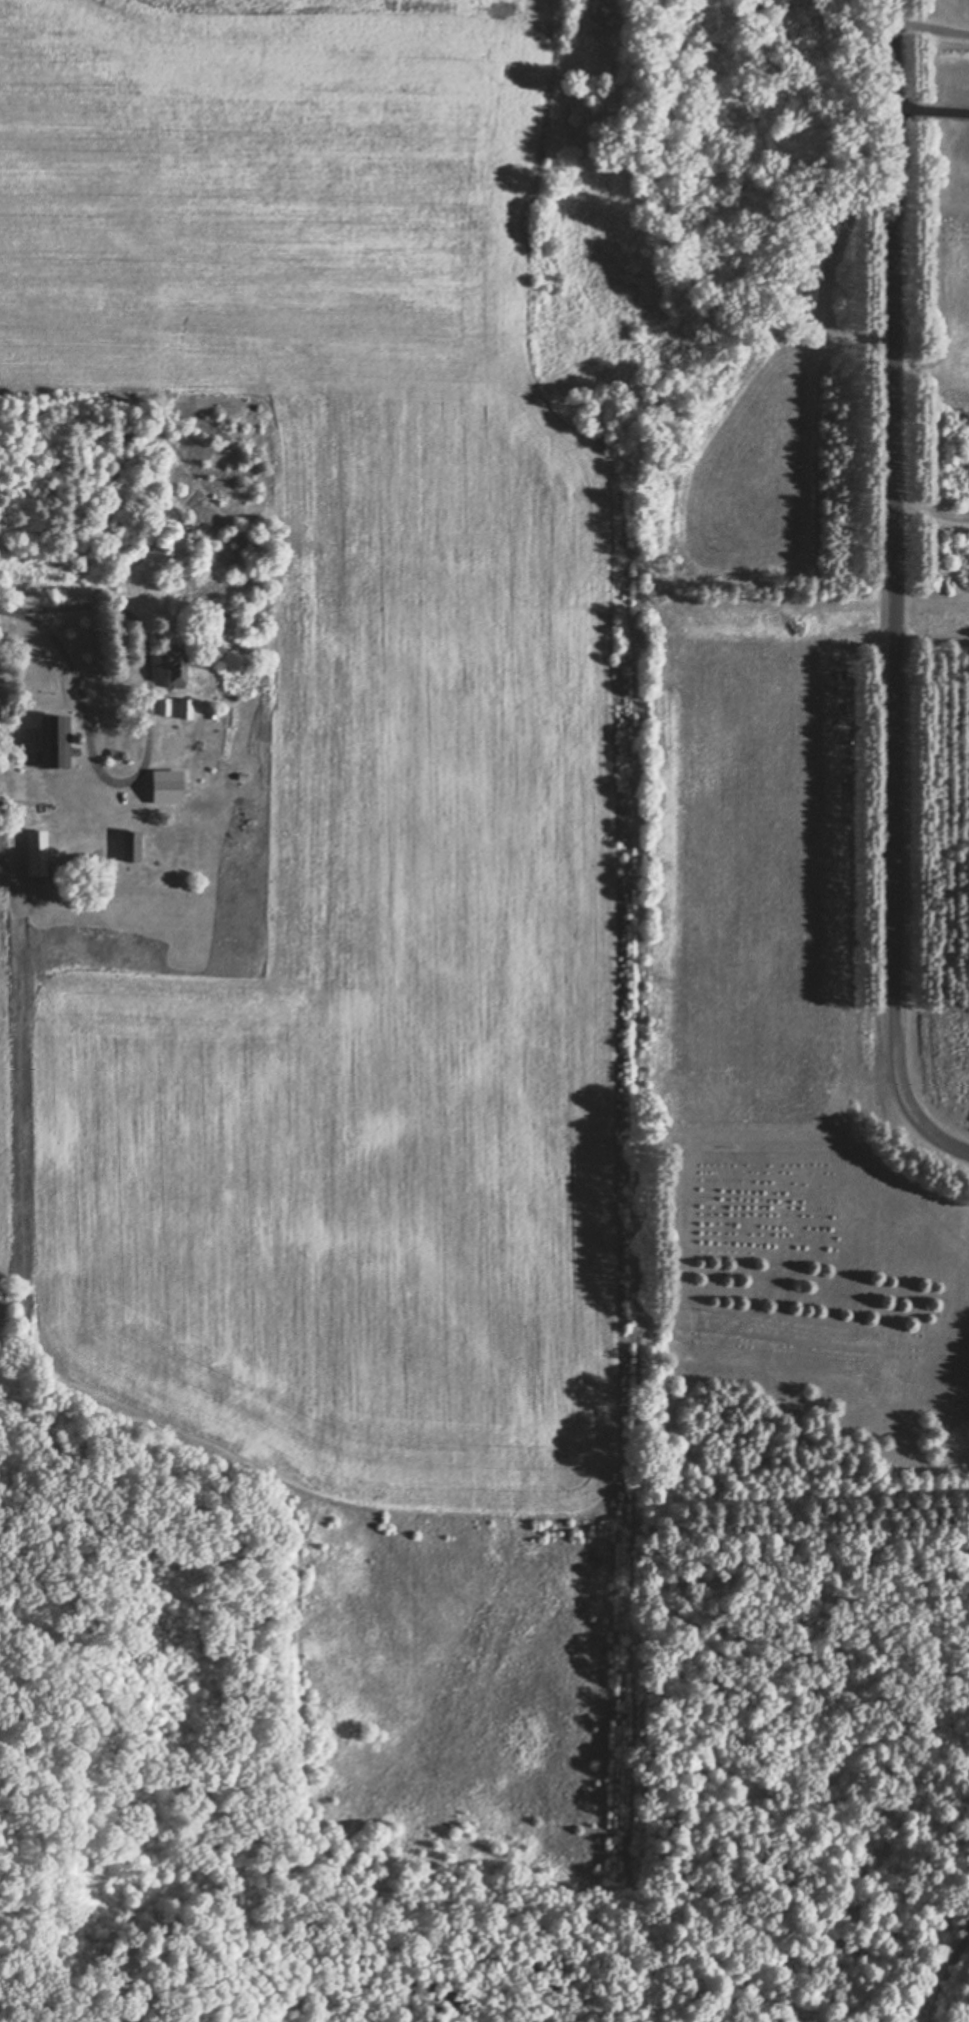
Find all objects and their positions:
building: (122, 436)
road: (930, 508)
road: (895, 592)
building: (172, 665)
road: (84, 704)
building: (184, 707)
building: (51, 740)
building: (157, 789)
building: (129, 844)
building: (36, 856)

